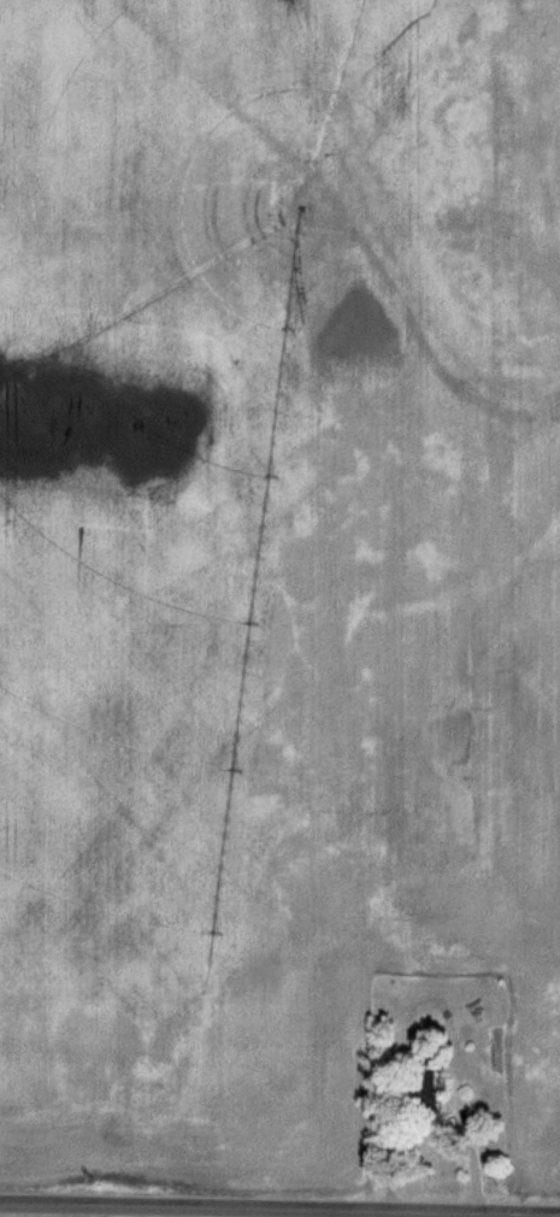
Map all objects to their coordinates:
road: (279, 1210)

